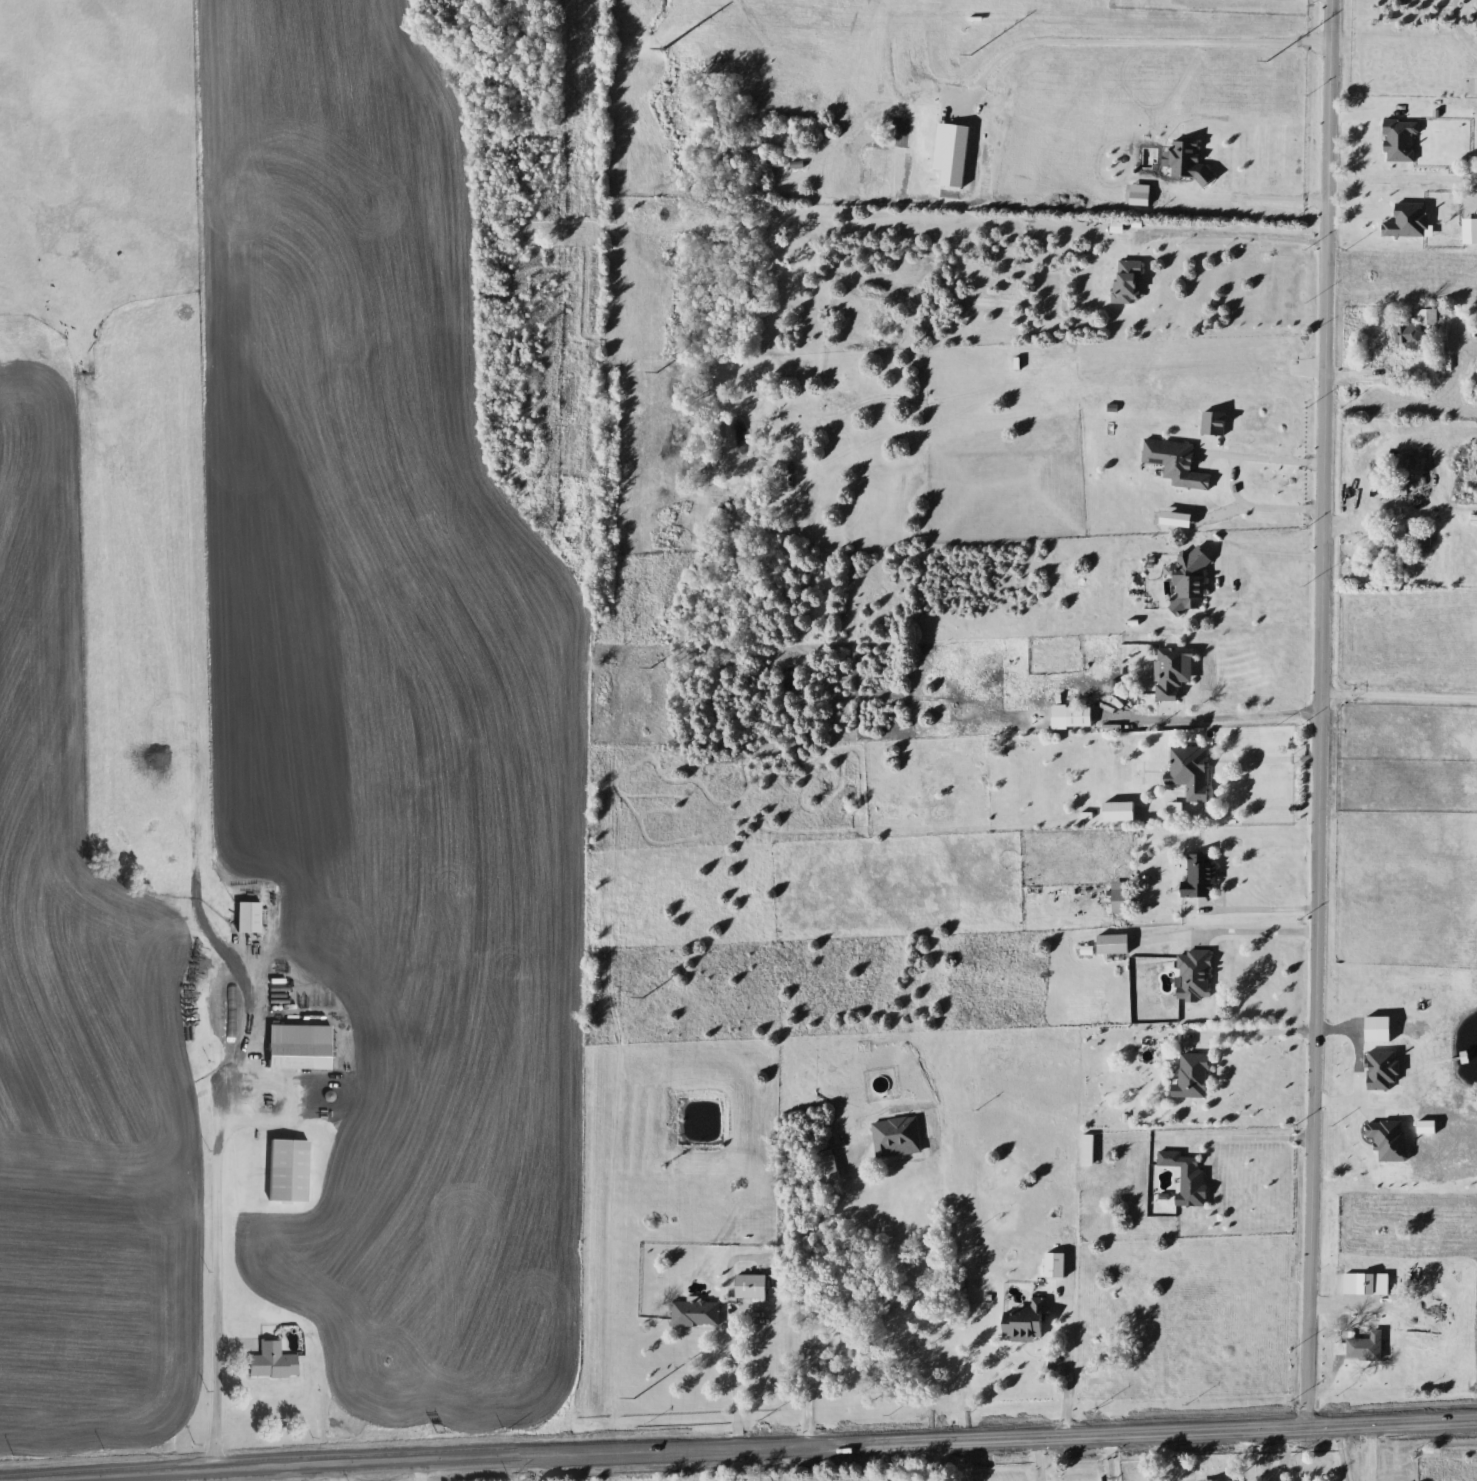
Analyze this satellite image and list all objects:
power tower: (639, 29)
power tower: (965, 35)
road: (1141, 41)
power tower: (1261, 44)
road: (1402, 178)
building: (1472, 192)
road: (1261, 197)
road: (1221, 229)
building: (1129, 282)
building: (1416, 326)
power tower: (636, 365)
building: (1177, 463)
road: (1234, 475)
building: (1400, 488)
building: (1388, 543)
building: (1401, 551)
road: (1269, 554)
building: (1191, 580)
power tower: (629, 647)
building: (1173, 673)
road: (1398, 696)
road: (1317, 713)
road: (1237, 716)
building: (1081, 717)
road: (1258, 752)
building: (1191, 771)
road: (1263, 801)
building: (1202, 876)
building: (1122, 898)
road: (1269, 908)
building: (250, 918)
road: (1252, 933)
building: (1115, 945)
building: (1195, 976)
power tower: (621, 995)
road: (1249, 1035)
building: (290, 1056)
road: (1351, 1064)
building: (1194, 1077)
road: (289, 1101)
building: (897, 1138)
road: (1242, 1138)
building: (1089, 1150)
building: (827, 1166)
building: (289, 1172)
building: (1188, 1178)
road: (217, 1193)
building: (1057, 1266)
building: (753, 1287)
building: (697, 1314)
road: (807, 1314)
building: (1026, 1322)
building: (1367, 1348)
building: (1341, 1350)
building: (273, 1367)
road: (1069, 1370)
road: (735, 1384)
power tower: (612, 1401)
road: (758, 1448)
road: (1340, 1453)
road: (1247, 1455)
road: (1283, 1455)
road: (1112, 1457)
road: (931, 1461)
road: (421, 1470)
road: (338, 1472)
road: (276, 1473)
building: (1221, 1480)

